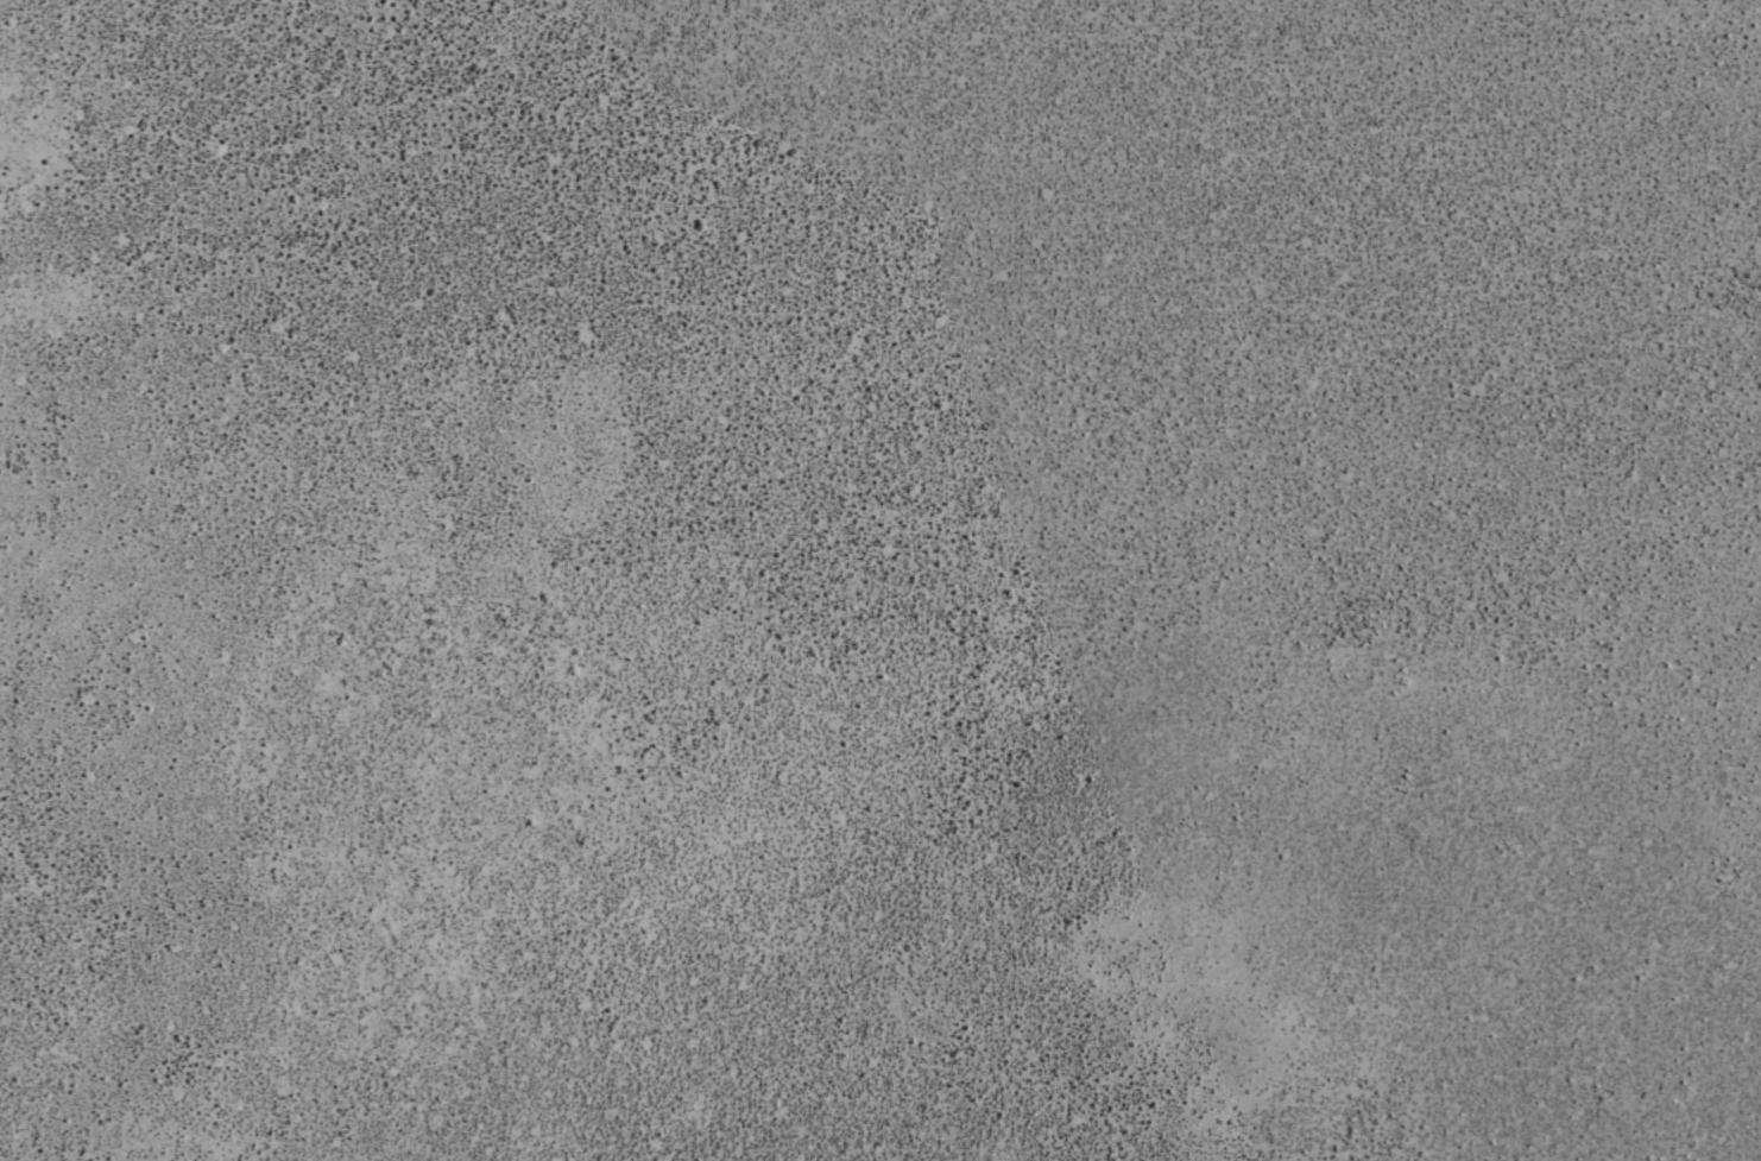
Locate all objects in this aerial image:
crop: (814, 358)

